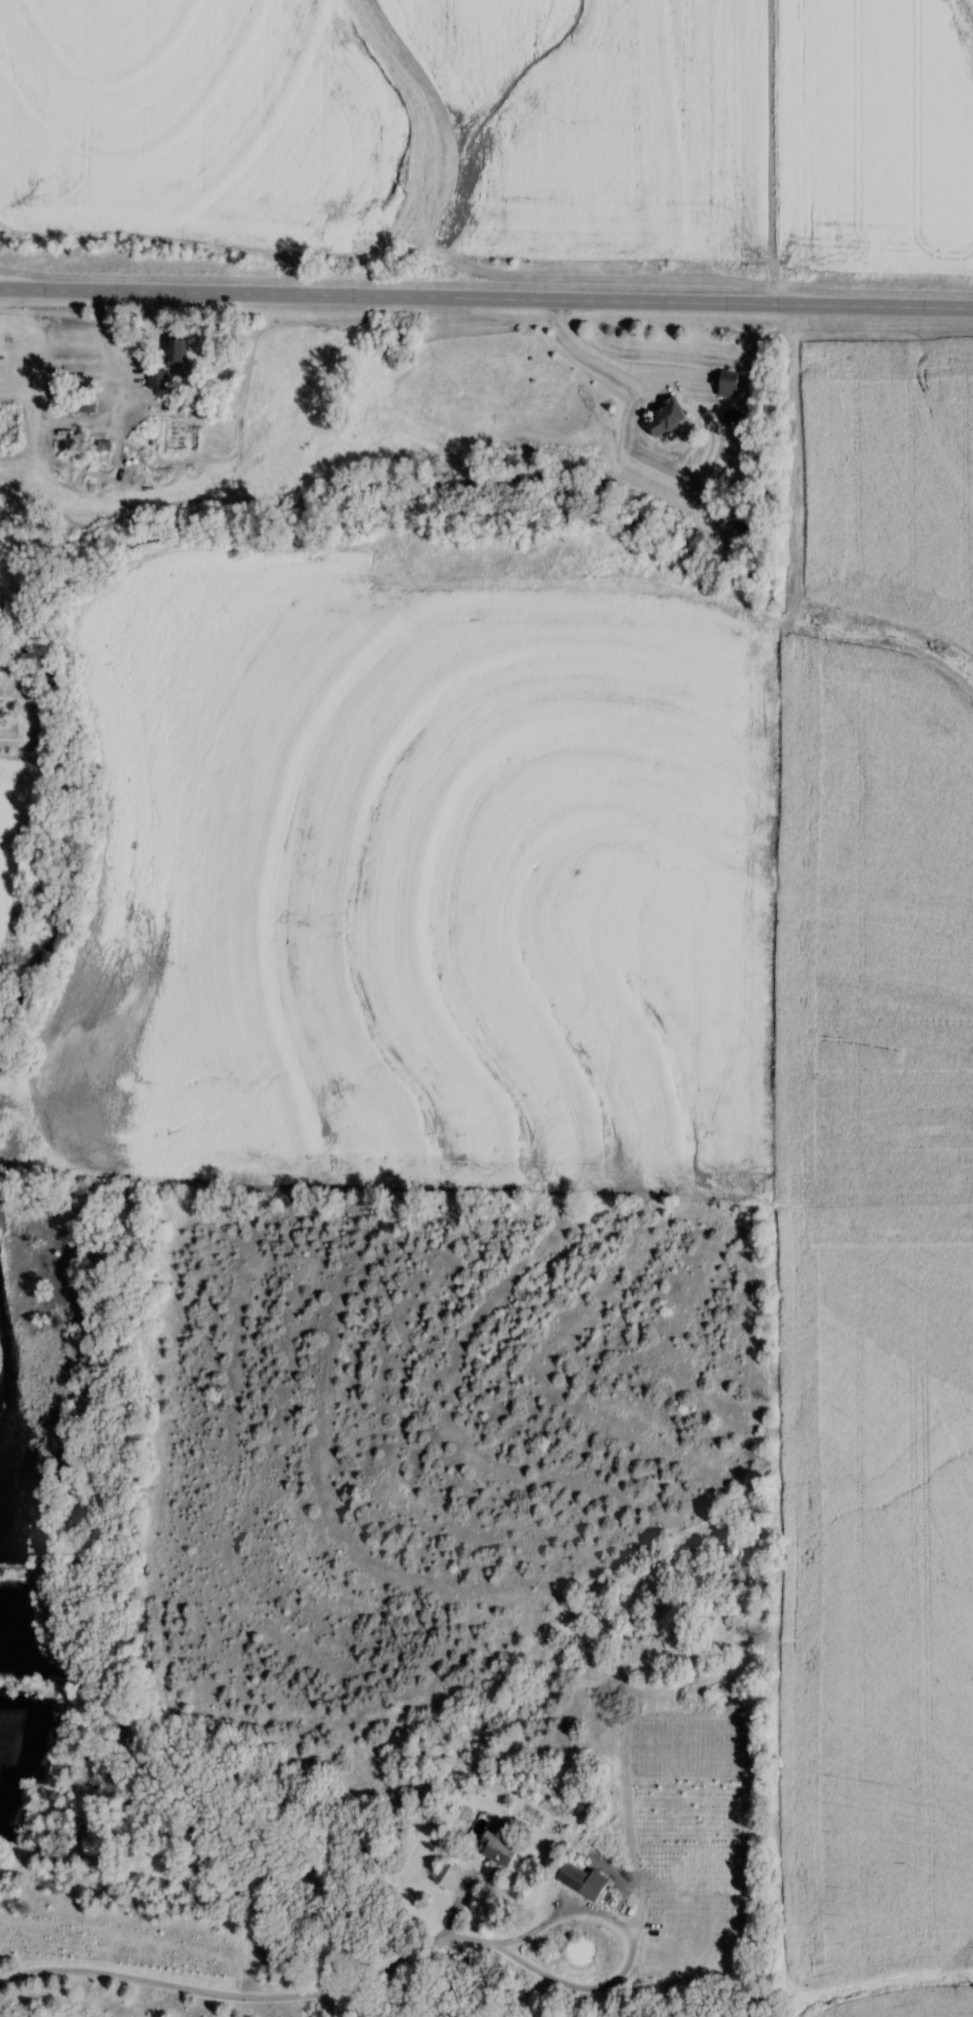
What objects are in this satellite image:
road: (486, 299)
building: (175, 351)
road: (597, 355)
building: (157, 378)
building: (727, 384)
building: (77, 403)
building: (663, 417)
building: (742, 526)
building: (496, 1849)
building: (444, 1875)
building: (581, 1880)
road: (455, 1911)
road: (632, 1950)
road: (247, 1996)

